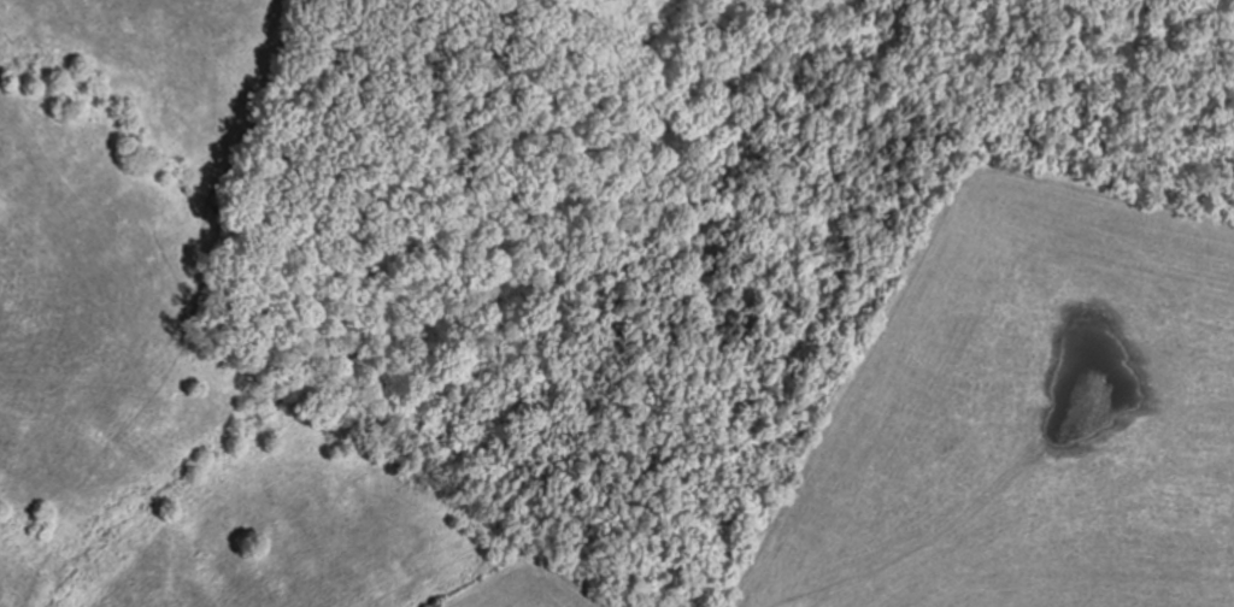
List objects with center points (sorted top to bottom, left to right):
road: (928, 303)

